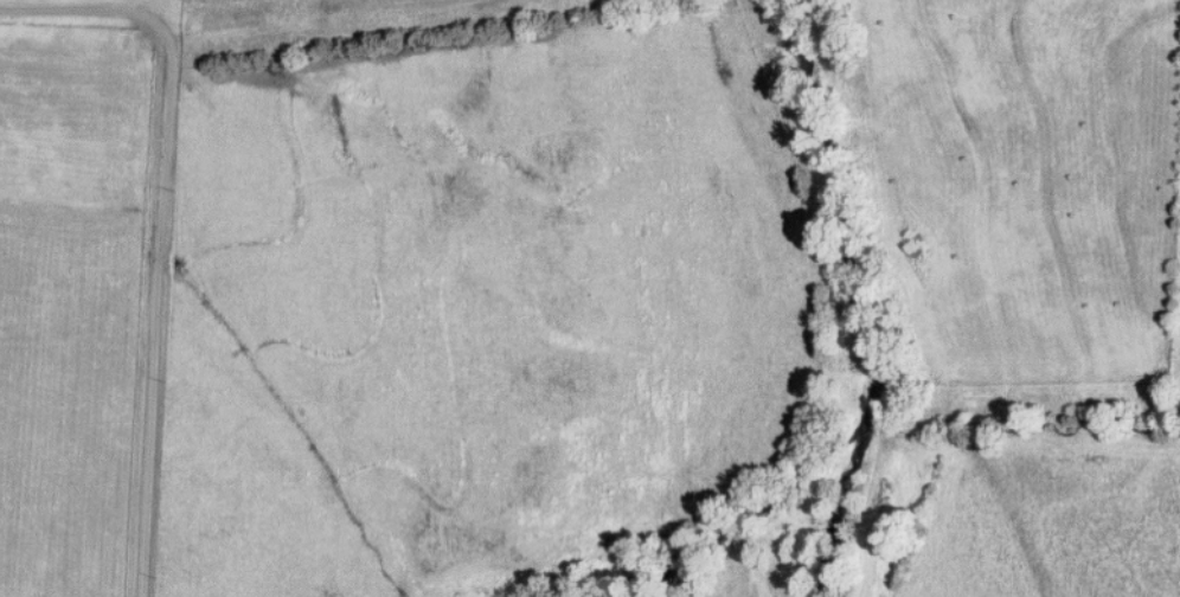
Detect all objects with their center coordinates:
crop: (1178, 342)

